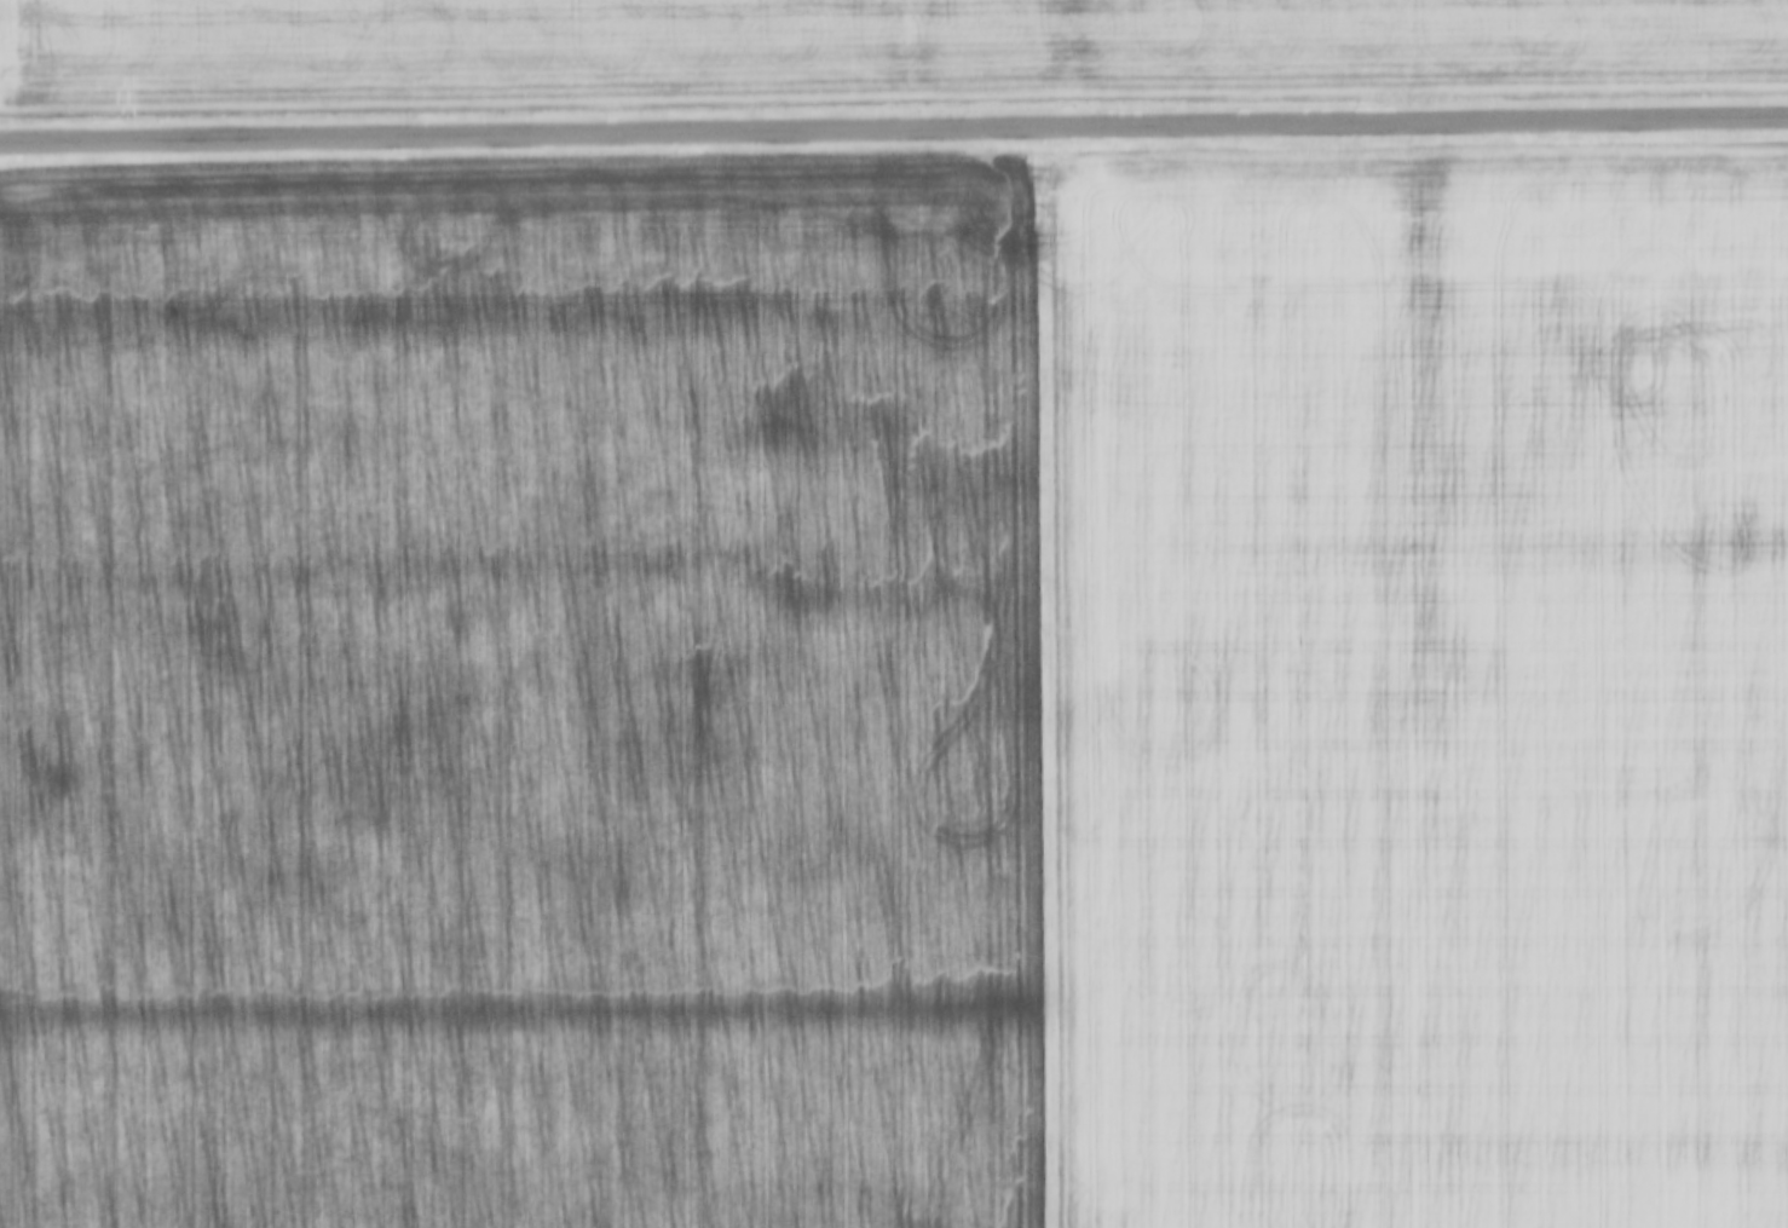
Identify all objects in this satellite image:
road: (893, 127)

